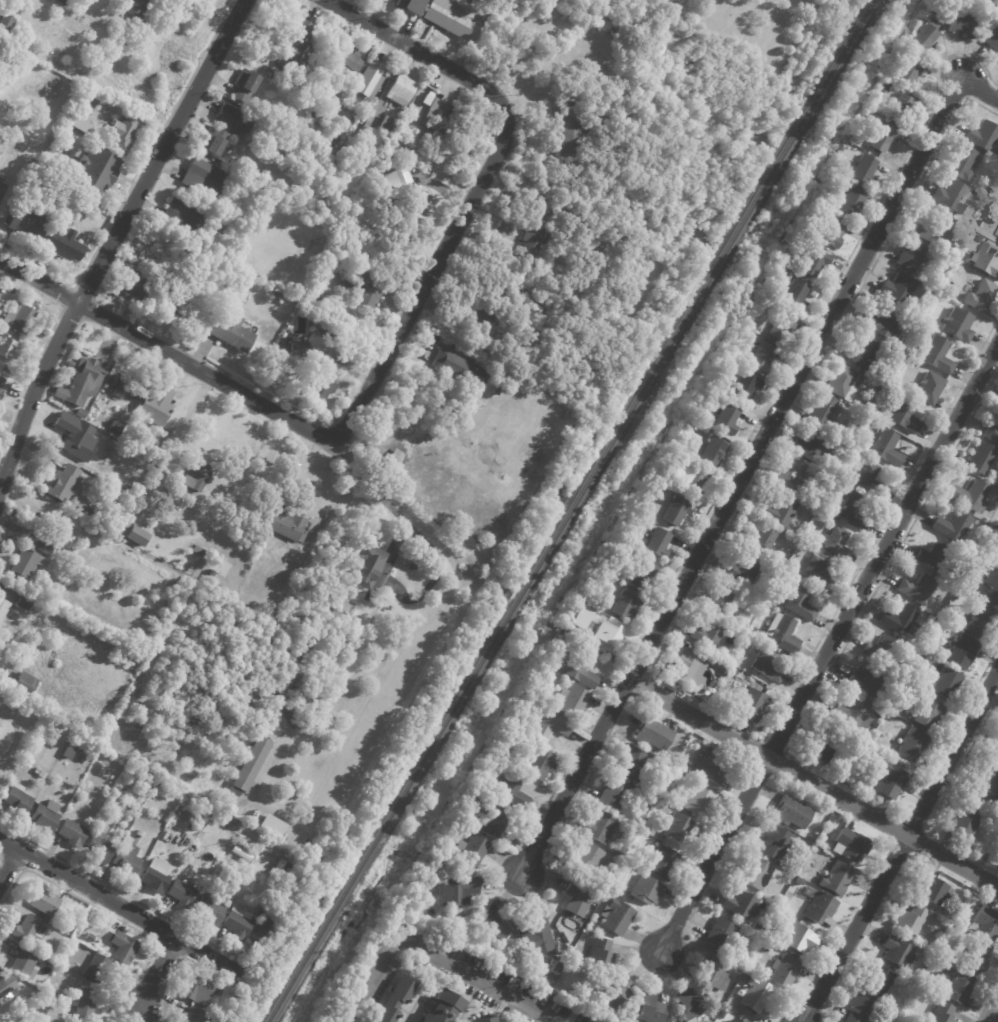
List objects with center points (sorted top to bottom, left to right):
building: (61, 2)
building: (164, 2)
building: (410, 6)
building: (139, 9)
building: (448, 19)
building: (5, 23)
building: (605, 23)
building: (961, 24)
building: (326, 25)
building: (924, 38)
building: (992, 38)
building: (296, 47)
road: (421, 53)
building: (347, 59)
building: (908, 70)
building: (369, 78)
building: (313, 79)
building: (606, 82)
building: (244, 84)
building: (586, 84)
building: (893, 87)
building: (400, 90)
building: (426, 99)
building: (901, 108)
building: (314, 112)
building: (434, 114)
building: (234, 119)
building: (78, 124)
building: (385, 125)
building: (573, 129)
building: (983, 135)
building: (123, 136)
building: (884, 137)
building: (213, 141)
building: (431, 141)
road: (153, 142)
building: (326, 151)
building: (396, 151)
building: (963, 163)
building: (237, 164)
building: (95, 170)
building: (865, 170)
building: (203, 176)
building: (395, 176)
building: (80, 189)
building: (951, 196)
building: (982, 199)
building: (853, 200)
building: (383, 204)
building: (413, 205)
building: (182, 214)
building: (28, 224)
building: (978, 228)
building: (935, 232)
building: (831, 233)
building: (997, 234)
building: (963, 236)
road: (112, 237)
building: (604, 237)
building: (532, 240)
building: (801, 242)
building: (64, 246)
building: (911, 254)
building: (129, 259)
building: (987, 259)
building: (814, 262)
building: (780, 272)
road: (426, 282)
building: (193, 285)
building: (130, 287)
building: (899, 288)
building: (943, 289)
building: (358, 290)
building: (271, 291)
building: (796, 294)
building: (279, 296)
building: (981, 296)
road: (66, 300)
building: (163, 302)
building: (488, 310)
building: (18, 318)
building: (883, 322)
building: (958, 325)
building: (782, 327)
building: (228, 331)
building: (321, 332)
building: (744, 332)
building: (285, 335)
building: (282, 343)
building: (452, 345)
building: (299, 346)
building: (7, 349)
building: (864, 352)
building: (937, 355)
building: (762, 357)
building: (542, 360)
building: (69, 364)
building: (460, 369)
building: (320, 380)
road: (25, 381)
building: (842, 382)
building: (1, 383)
building: (81, 383)
building: (122, 384)
building: (743, 385)
building: (722, 386)
building: (929, 388)
building: (298, 389)
building: (0, 391)
building: (496, 391)
road: (238, 392)
building: (154, 406)
building: (826, 412)
building: (79, 413)
building: (93, 415)
building: (876, 415)
building: (905, 415)
building: (727, 419)
building: (690, 425)
building: (991, 433)
building: (74, 436)
building: (847, 438)
building: (813, 446)
building: (884, 447)
building: (840, 448)
building: (713, 451)
building: (981, 458)
building: (392, 460)
road: (750, 464)
building: (666, 467)
building: (195, 475)
building: (790, 475)
building: (869, 480)
building: (693, 482)
building: (62, 484)
building: (654, 486)
building: (811, 486)
building: (971, 496)
building: (996, 496)
building: (173, 501)
railway: (569, 511)
building: (676, 511)
building: (778, 511)
building: (852, 511)
building: (93, 513)
building: (284, 524)
building: (953, 526)
building: (91, 533)
building: (135, 536)
building: (65, 540)
building: (759, 540)
building: (836, 542)
building: (657, 543)
building: (40, 545)
building: (85, 547)
building: (197, 550)
building: (934, 557)
building: (23, 564)
building: (366, 567)
building: (411, 567)
building: (74, 571)
building: (742, 571)
building: (775, 573)
building: (818, 573)
building: (644, 576)
building: (991, 588)
building: (918, 589)
building: (957, 593)
building: (722, 600)
building: (23, 602)
building: (336, 603)
building: (799, 603)
building: (3, 607)
building: (624, 607)
building: (579, 616)
building: (902, 621)
building: (981, 622)
building: (607, 634)
building: (708, 634)
building: (782, 634)
building: (882, 649)
building: (697, 650)
building: (963, 652)
road: (828, 654)
building: (708, 657)
building: (19, 660)
building: (718, 663)
building: (766, 666)
building: (687, 669)
building: (581, 671)
building: (719, 672)
building: (293, 673)
building: (868, 679)
building: (947, 684)
building: (21, 685)
building: (698, 693)
building: (571, 701)
building: (884, 703)
building: (824, 704)
building: (752, 705)
building: (535, 706)
building: (282, 707)
building: (906, 713)
building: (928, 714)
building: (852, 716)
building: (547, 725)
building: (272, 729)
building: (653, 735)
building: (824, 747)
building: (912, 747)
building: (993, 758)
road: (372, 761)
building: (251, 763)
building: (538, 764)
building: (630, 764)
building: (680, 764)
building: (714, 765)
building: (35, 771)
building: (691, 773)
building: (663, 774)
building: (41, 775)
building: (890, 782)
road: (812, 784)
building: (984, 788)
building: (681, 790)
building: (512, 793)
building: (613, 794)
building: (664, 798)
building: (16, 800)
building: (698, 801)
building: (994, 810)
building: (792, 814)
building: (43, 817)
building: (219, 823)
building: (493, 823)
building: (271, 825)
building: (965, 825)
building: (195, 827)
building: (599, 828)
building: (679, 831)
building: (70, 833)
building: (140, 833)
building: (249, 835)
road: (5, 841)
building: (773, 842)
road: (900, 846)
building: (196, 847)
building: (851, 847)
building: (98, 848)
building: (472, 852)
building: (125, 860)
building: (585, 861)
road: (12, 863)
building: (661, 863)
road: (8, 865)
building: (276, 868)
building: (755, 875)
building: (153, 880)
building: (836, 880)
building: (799, 882)
building: (422, 884)
building: (455, 891)
building: (933, 891)
building: (646, 892)
road: (127, 895)
building: (180, 895)
building: (578, 899)
building: (777, 900)
building: (44, 903)
building: (741, 906)
road: (121, 907)
building: (818, 907)
building: (209, 909)
road: (114, 918)
building: (617, 918)
building: (238, 923)
building: (911, 923)
building: (938, 923)
building: (986, 923)
building: (495, 926)
building: (25, 930)
building: (261, 935)
building: (722, 935)
building: (536, 937)
building: (89, 938)
building: (773, 938)
building: (798, 940)
road: (156, 943)
building: (122, 949)
building: (898, 954)
building: (600, 956)
road: (431, 957)
road: (179, 959)
building: (978, 959)
building: (23, 963)
building: (556, 970)
building: (96, 971)
road: (155, 972)
building: (784, 973)
building: (714, 975)
parking lot: (354, 981)
parking lot: (508, 983)
building: (876, 984)
building: (958, 986)
building: (6, 987)
parking lot: (377, 990)
building: (196, 991)
parking lot: (465, 991)
building: (216, 993)
building: (616, 995)
building: (756, 996)
road: (416, 998)
building: (390, 1001)
building: (85, 1003)
building: (689, 1007)
building: (438, 1008)
building: (734, 1008)
road: (463, 1010)
building: (649, 1010)
building: (860, 1010)
road: (401, 1012)
building: (941, 1013)
building: (192, 1016)
road: (994, 1016)
building: (481, 1020)
building: (742, 1021)

